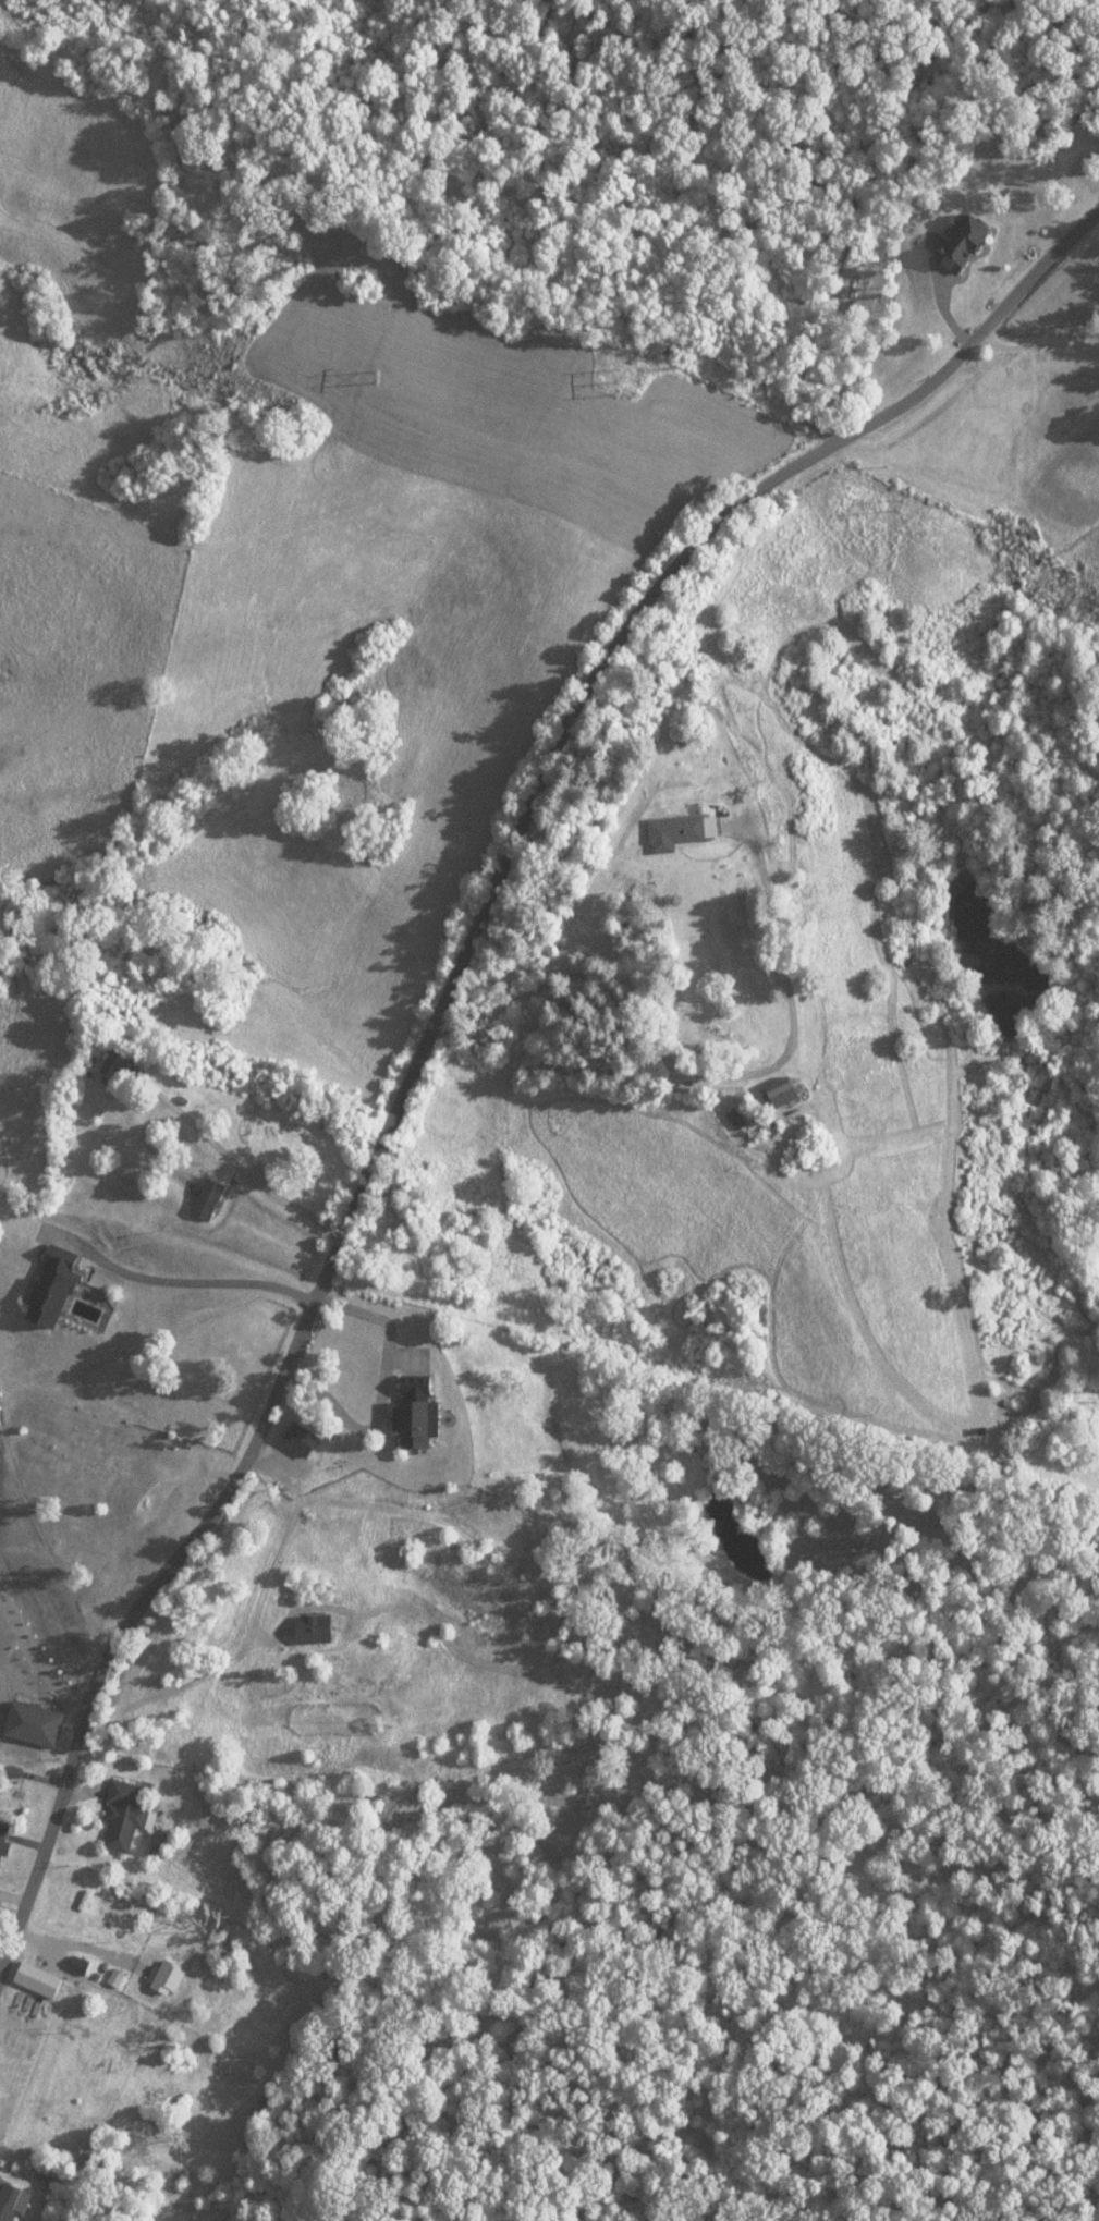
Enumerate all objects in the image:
road: (1035, 341)
road: (672, 938)
road: (440, 1018)
road: (186, 1286)
road: (2, 1643)
road: (1, 1652)
road: (41, 1658)

